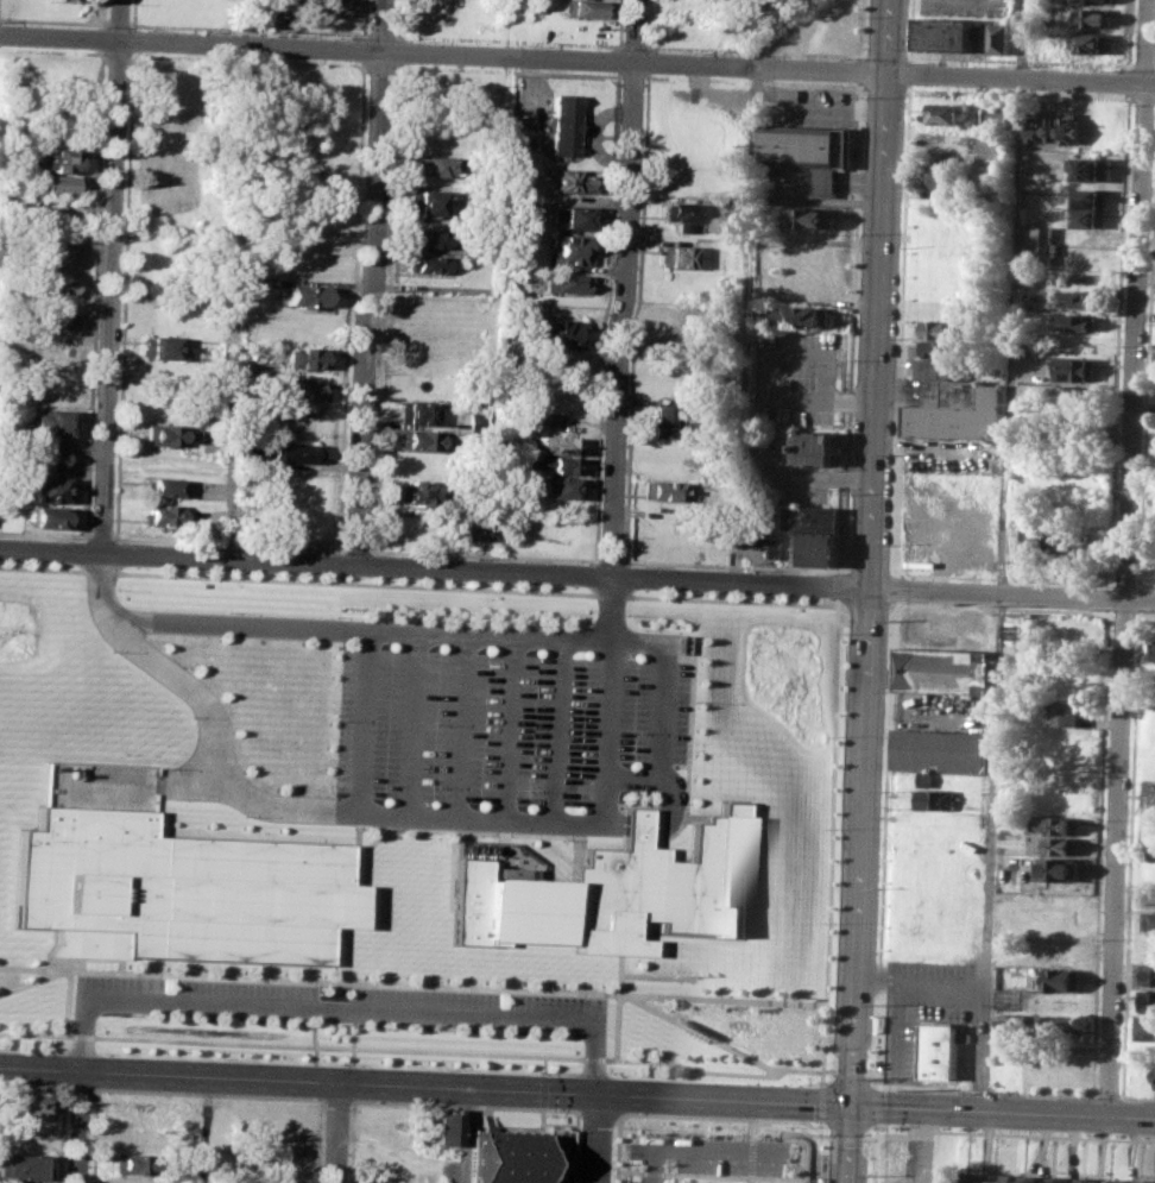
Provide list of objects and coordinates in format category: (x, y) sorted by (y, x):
building: (69, 0)
building: (280, 1)
building: (1090, 1)
building: (536, 6)
building: (329, 7)
building: (586, 7)
parking lot: (962, 8)
building: (1090, 17)
road: (362, 18)
road: (53, 20)
road: (116, 23)
road: (264, 23)
road: (130, 24)
road: (910, 27)
road: (238, 29)
road: (863, 29)
road: (1128, 32)
road: (379, 33)
road: (757, 33)
building: (945, 34)
building: (996, 38)
road: (505, 39)
road: (1144, 40)
building: (1091, 42)
road: (632, 44)
road: (362, 49)
road: (756, 49)
road: (52, 50)
road: (116, 54)
road: (885, 54)
road: (908, 55)
road: (572, 58)
road: (1018, 58)
road: (361, 64)
road: (1129, 64)
road: (1143, 64)
road: (861, 70)
road: (910, 70)
road: (1149, 83)
building: (946, 112)
building: (998, 115)
building: (562, 126)
building: (1036, 126)
building: (1067, 126)
building: (1102, 128)
building: (808, 151)
building: (991, 151)
building: (52, 157)
road: (908, 158)
building: (433, 163)
building: (1086, 168)
building: (942, 175)
building: (572, 181)
building: (52, 184)
road: (358, 193)
building: (1087, 196)
building: (431, 203)
building: (516, 206)
building: (688, 213)
building: (574, 215)
building: (807, 216)
building: (1087, 218)
building: (430, 238)
building: (1044, 243)
building: (569, 248)
building: (680, 256)
building: (428, 263)
road: (108, 276)
road: (370, 282)
building: (567, 282)
road: (498, 284)
building: (55, 288)
road: (623, 288)
building: (307, 296)
building: (1078, 298)
road: (235, 301)
building: (800, 316)
building: (1079, 321)
road: (745, 323)
road: (852, 328)
building: (940, 328)
building: (557, 332)
road: (1135, 341)
building: (158, 346)
building: (938, 348)
building: (430, 355)
building: (307, 357)
building: (938, 369)
building: (1077, 370)
parking lot: (794, 376)
building: (1042, 377)
road: (762, 382)
building: (302, 389)
building: (959, 410)
building: (418, 413)
building: (48, 422)
building: (664, 422)
building: (163, 434)
building: (423, 440)
building: (555, 445)
building: (813, 447)
building: (292, 452)
building: (45, 457)
building: (557, 464)
parking lot: (781, 472)
road: (810, 476)
building: (561, 486)
building: (162, 487)
building: (45, 489)
building: (661, 490)
building: (418, 491)
street lamp: (850, 493)
building: (159, 515)
building: (45, 517)
building: (809, 517)
building: (468, 526)
road: (44, 535)
road: (99, 537)
street lamp: (45, 539)
street lamp: (119, 541)
building: (1046, 542)
road: (227, 543)
building: (803, 547)
road: (355, 548)
street lamp: (335, 550)
road: (484, 553)
street lamp: (408, 554)
road: (1004, 554)
street lamp: (522, 560)
road: (610, 560)
road: (339, 564)
street lamp: (644, 565)
road: (732, 565)
street lamp: (746, 570)
road: (562, 573)
road: (339, 578)
road: (837, 585)
road: (418, 586)
street lamp: (115, 589)
road: (867, 591)
road: (1140, 599)
street lamp: (902, 603)
road: (608, 609)
street lamp: (227, 611)
street lamp: (624, 615)
street lamp: (336, 616)
street lamp: (429, 619)
street lamp: (524, 624)
street lamp: (642, 629)
street lamp: (844, 633)
building: (1020, 634)
road: (478, 635)
street lamp: (109, 650)
building: (1154, 650)
building: (945, 669)
street lamp: (690, 700)
road: (606, 710)
building: (1064, 713)
street lamp: (191, 716)
road: (362, 722)
street lamp: (436, 723)
road: (411, 724)
road: (461, 726)
road: (506, 728)
street lamp: (531, 728)
road: (555, 730)
street lamp: (630, 731)
parking lot: (497, 736)
street lamp: (839, 736)
building: (940, 749)
street lamp: (121, 753)
street lamp: (163, 767)
road: (607, 778)
building: (927, 778)
road: (190, 780)
street lamp: (434, 785)
street lamp: (529, 789)
building: (1154, 793)
building: (938, 799)
street lamp: (654, 800)
road: (280, 808)
street lamp: (245, 816)
building: (1060, 824)
street lamp: (353, 828)
street lamp: (835, 828)
road: (829, 833)
street lamp: (459, 835)
street lamp: (560, 839)
building: (1065, 845)
road: (1115, 857)
building: (1151, 867)
building: (1059, 868)
street lamp: (878, 887)
building: (181, 888)
building: (616, 893)
building: (1150, 894)
building: (1149, 919)
street lamp: (833, 923)
flagpole: (682, 971)
flagpole: (688, 971)
flagpole: (695, 971)
building: (1148, 974)
road: (618, 980)
building: (1061, 980)
road: (30, 981)
road: (923, 981)
road: (411, 984)
street lamp: (728, 994)
building: (1147, 1000)
road: (65, 1002)
parking lot: (340, 1003)
street lamp: (875, 1003)
road: (339, 1008)
street lamp: (831, 1008)
street lamp: (128, 1014)
street lamp: (223, 1019)
building: (1011, 1019)
street lamp: (340, 1024)
building: (1064, 1025)
building: (1147, 1027)
street lamp: (447, 1028)
road: (702, 1032)
street lamp: (561, 1033)
building: (940, 1042)
road: (419, 1050)
street lamp: (102, 1052)
street lamp: (222, 1057)
building: (1002, 1061)
street lamp: (334, 1063)
street lamp: (444, 1068)
road: (829, 1070)
street lamp: (560, 1071)
road: (851, 1071)
building: (1140, 1075)
street lamp: (680, 1078)
road: (72, 1082)
street lamp: (814, 1083)
road: (875, 1086)
building: (1154, 1086)
road: (973, 1090)
road: (202, 1093)
street lamp: (973, 1093)
road: (577, 1094)
road: (1105, 1095)
street lamp: (1073, 1096)
road: (1136, 1096)
street lamp: (90, 1102)
road: (821, 1102)
building: (30, 1103)
road: (460, 1103)
road: (61, 1105)
road: (875, 1105)
traffic signals: (851, 1106)
street lamp: (324, 1109)
road: (714, 1115)
road: (820, 1125)
street lamp: (613, 1126)
street lamp: (883, 1126)
road: (82, 1128)
building: (447, 1128)
road: (751, 1128)
road: (203, 1129)
street lamp: (671, 1132)
road: (337, 1133)
street lamp: (826, 1133)
road: (1015, 1133)
street lamp: (720, 1134)
road: (465, 1135)
road: (825, 1135)
road: (845, 1135)
street lamp: (771, 1137)
road: (876, 1137)
road: (593, 1139)
road: (703, 1150)
road: (750, 1156)
building: (504, 1157)
road: (875, 1160)
building: (134, 1163)
building: (21, 1166)
road: (630, 1171)
road: (652, 1172)
road: (670, 1172)
building: (943, 1176)
building: (973, 1176)
building: (1002, 1177)
road: (749, 1178)
road: (790, 1178)
building: (280, 1179)
road: (808, 1179)
road: (818, 1179)
building: (1116, 1179)
building: (1028, 1181)
building: (1058, 1181)
building: (1144, 1181)
building: (18, 1182)
building: (1085, 1182)

